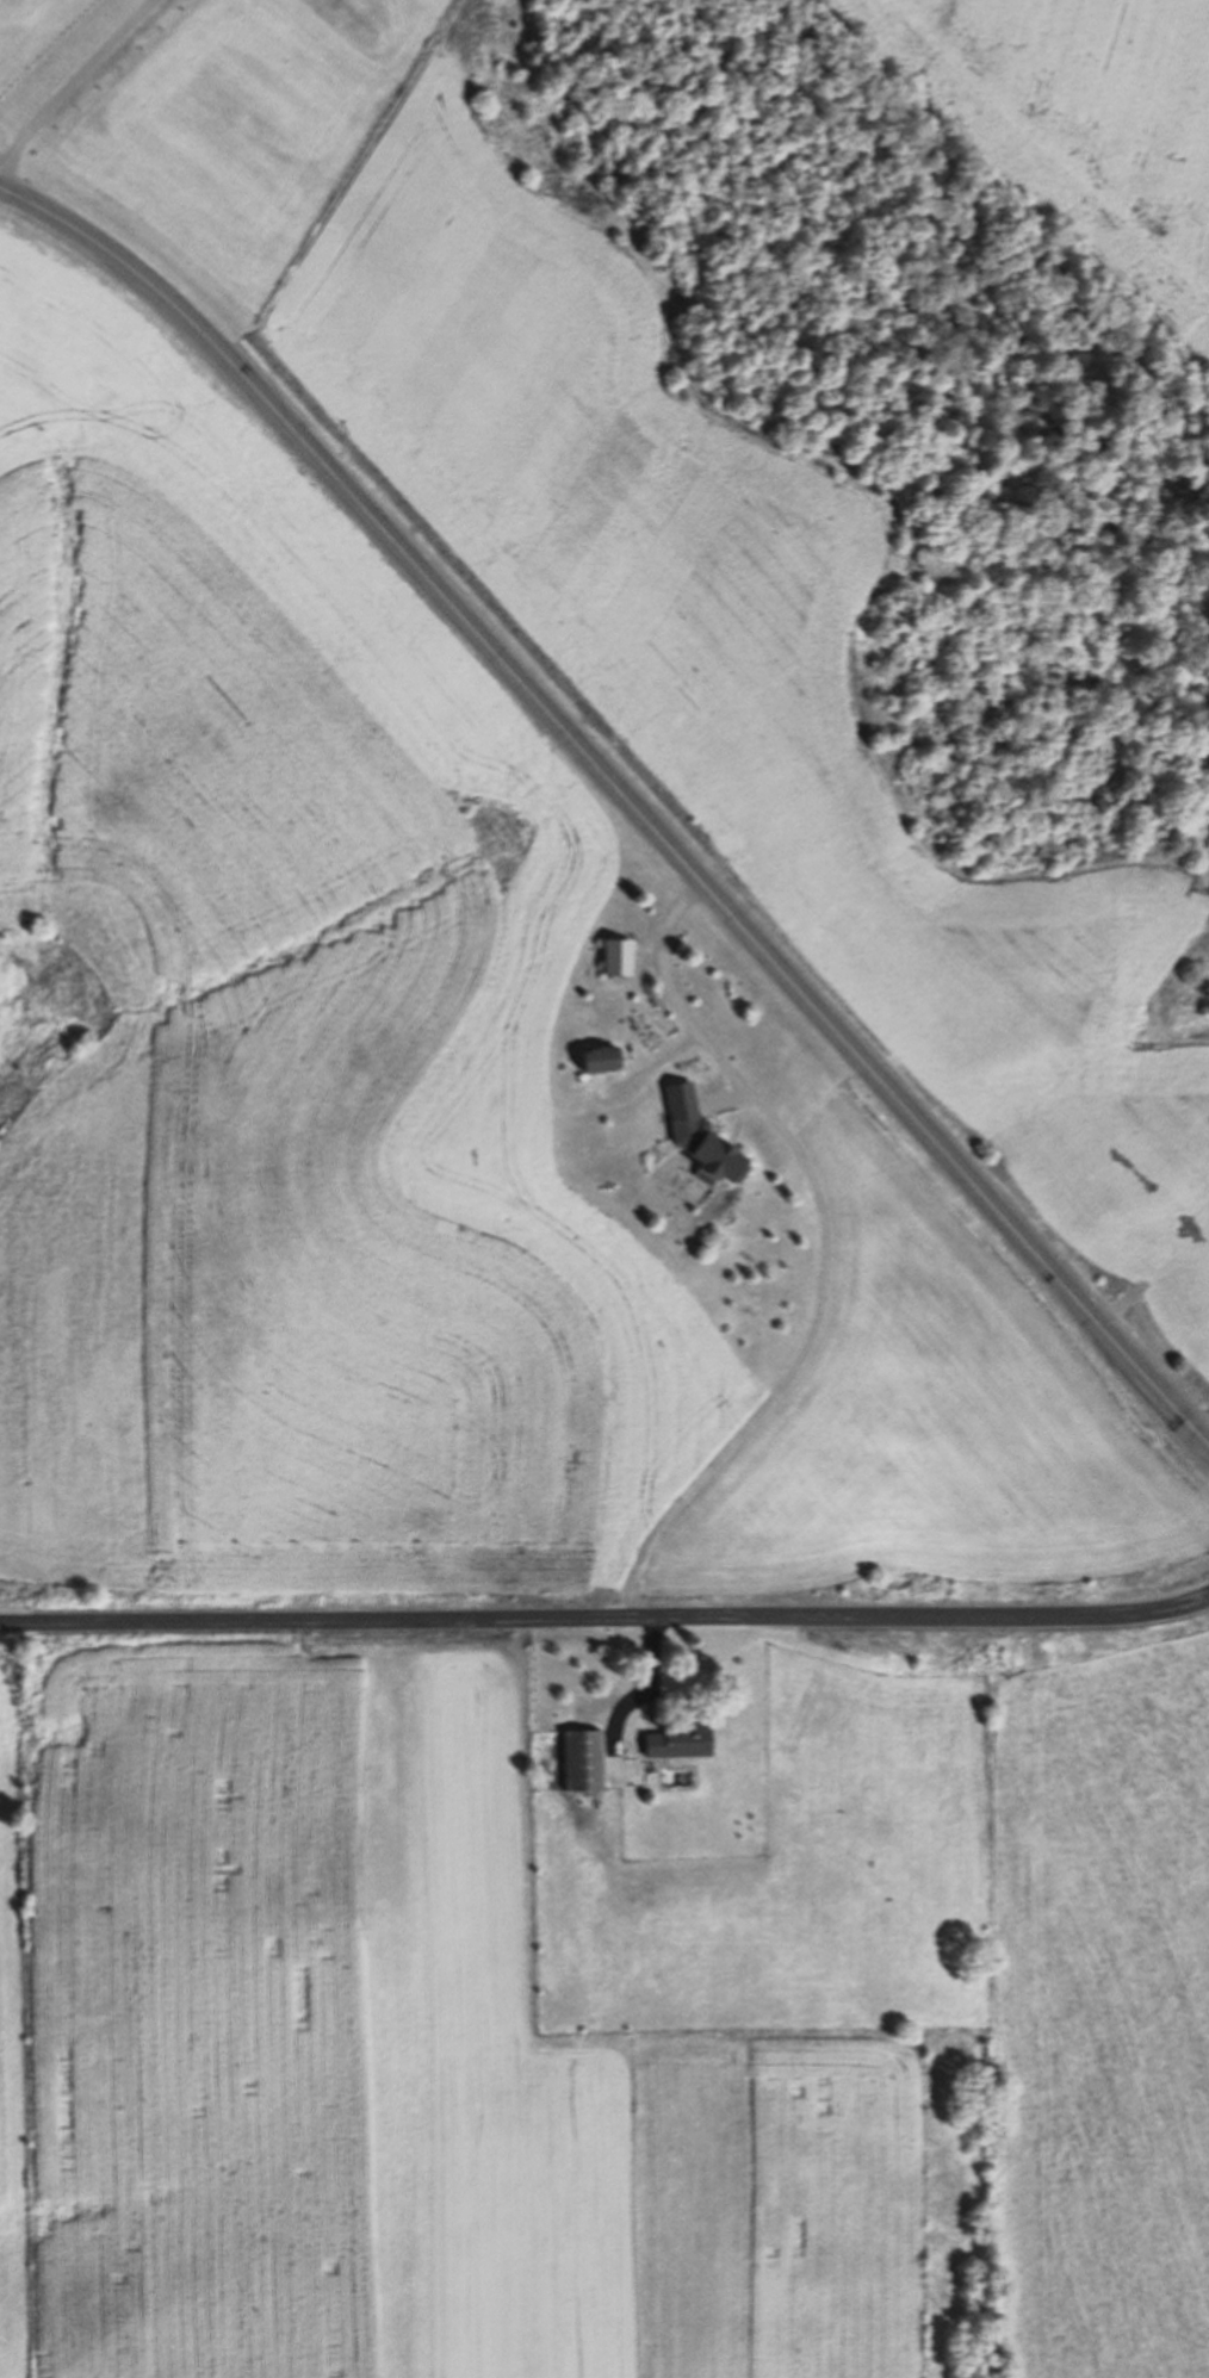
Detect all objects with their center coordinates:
road: (68, 82)
road: (622, 799)
building: (621, 958)
building: (607, 1061)
building: (706, 1138)
road: (606, 1608)
building: (683, 1741)
building: (587, 1759)

